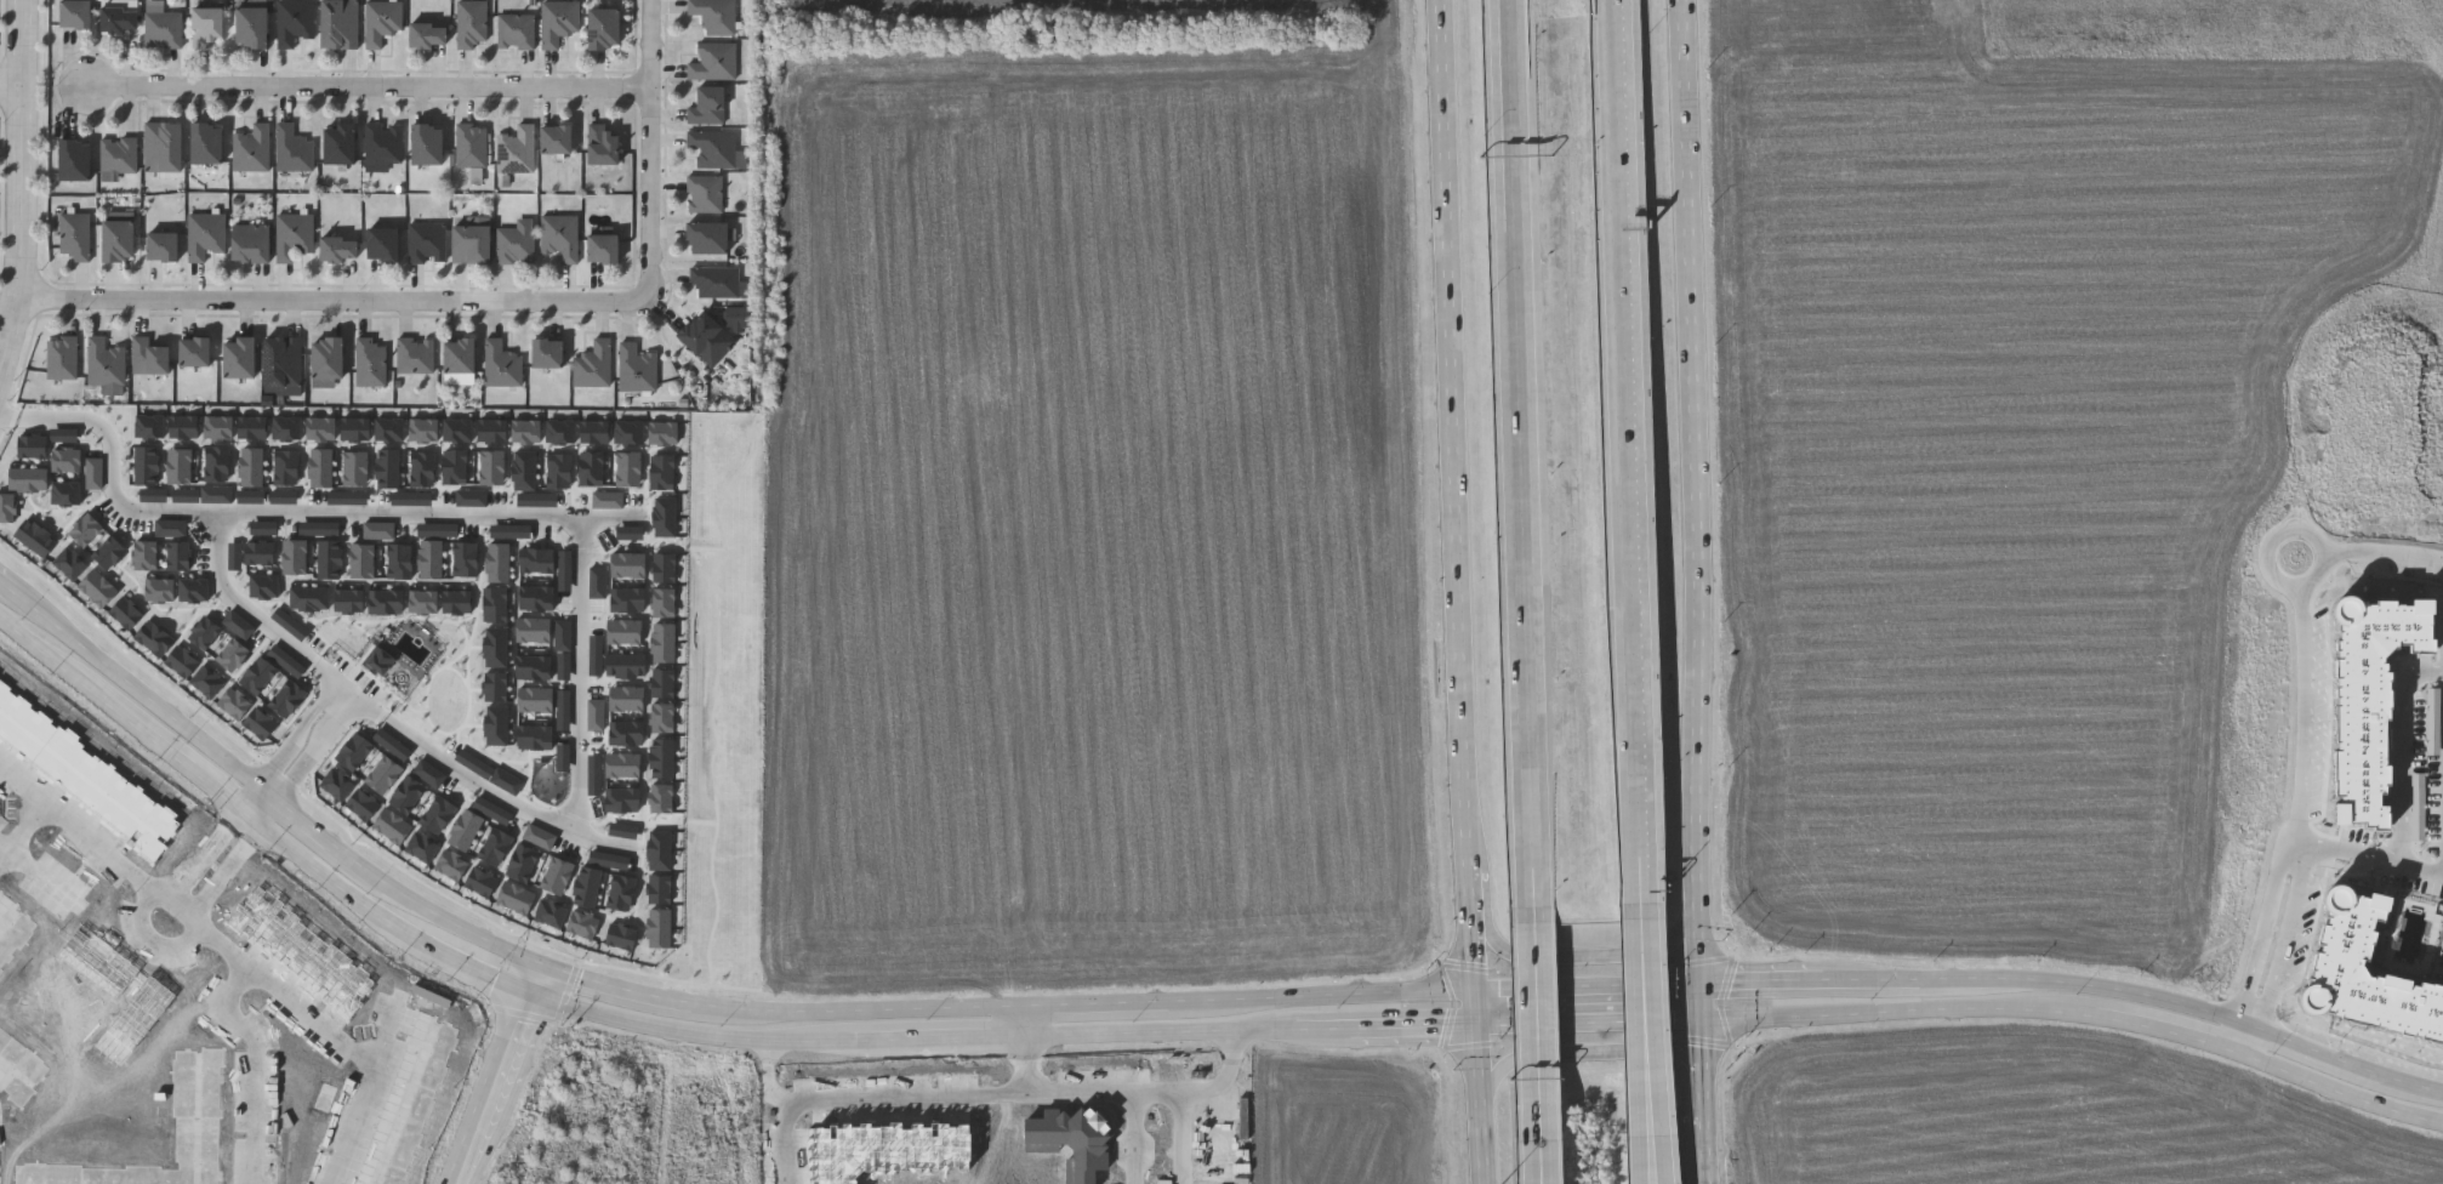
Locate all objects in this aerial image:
building: (76, 13)
building: (713, 15)
building: (120, 18)
building: (381, 19)
building: (294, 21)
building: (557, 21)
road: (1504, 22)
road: (1507, 22)
building: (340, 23)
building: (471, 23)
building: (209, 25)
building: (252, 25)
building: (605, 27)
building: (163, 29)
building: (516, 30)
building: (428, 34)
building: (713, 59)
road: (363, 76)
road: (11, 84)
building: (707, 106)
building: (557, 138)
building: (207, 142)
building: (382, 142)
building: (341, 143)
building: (428, 143)
building: (471, 144)
building: (604, 144)
building: (163, 146)
building: (713, 147)
building: (251, 148)
building: (292, 148)
building: (514, 149)
building: (119, 154)
road: (649, 155)
building: (75, 159)
road: (22, 188)
building: (704, 193)
building: (74, 234)
building: (205, 234)
building: (292, 234)
building: (560, 234)
building: (708, 237)
building: (120, 239)
building: (251, 241)
building: (426, 241)
building: (385, 243)
building: (472, 243)
building: (514, 244)
building: (163, 245)
building: (604, 246)
building: (340, 247)
building: (717, 281)
road: (335, 306)
building: (738, 315)
building: (707, 337)
building: (195, 351)
building: (547, 352)
building: (414, 354)
building: (460, 354)
building: (149, 355)
building: (62, 357)
building: (328, 357)
building: (240, 358)
building: (283, 360)
building: (104, 362)
building: (369, 362)
building: (501, 364)
building: (592, 364)
building: (636, 366)
building: (152, 427)
building: (186, 427)
building: (220, 428)
building: (254, 428)
building: (289, 428)
building: (321, 429)
building: (357, 429)
building: (391, 429)
building: (425, 431)
building: (459, 431)
building: (494, 432)
building: (528, 432)
building: (596, 432)
building: (562, 433)
building: (631, 433)
building: (665, 433)
building: (66, 436)
road: (1452, 436)
building: (34, 446)
building: (68, 461)
road: (1624, 461)
building: (218, 465)
building: (148, 466)
building: (181, 466)
building: (252, 467)
building: (456, 467)
building: (287, 468)
building: (323, 468)
building: (494, 468)
building: (592, 468)
building: (357, 469)
building: (389, 469)
building: (425, 469)
building: (630, 469)
building: (525, 471)
building: (560, 471)
building: (96, 473)
building: (664, 473)
building: (30, 480)
road: (1516, 483)
building: (68, 494)
building: (155, 495)
building: (218, 495)
building: (187, 496)
building: (252, 496)
building: (285, 497)
building: (349, 497)
building: (414, 499)
building: (473, 499)
building: (539, 500)
building: (609, 500)
building: (8, 508)
road: (1696, 511)
road: (170, 512)
road: (599, 513)
building: (666, 518)
building: (264, 528)
building: (172, 529)
building: (320, 529)
building: (87, 530)
building: (438, 530)
building: (380, 531)
building: (512, 531)
building: (631, 533)
building: (36, 539)
building: (112, 553)
building: (261, 553)
building: (147, 556)
building: (180, 556)
building: (237, 557)
building: (296, 557)
building: (432, 559)
building: (467, 559)
building: (331, 560)
building: (537, 560)
building: (364, 562)
building: (402, 562)
building: (500, 563)
building: (72, 564)
building: (630, 565)
building: (666, 568)
building: (566, 571)
building: (599, 582)
building: (266, 586)
building: (99, 588)
road: (583, 588)
road: (10, 590)
building: (161, 590)
building: (195, 591)
building: (537, 598)
building: (311, 599)
building: (628, 600)
building: (351, 602)
building: (425, 602)
building: (387, 603)
building: (459, 603)
building: (665, 603)
building: (497, 605)
building: (127, 614)
road: (255, 616)
building: (240, 625)
building: (291, 625)
building: (535, 630)
building: (626, 632)
building: (206, 633)
building: (564, 636)
building: (155, 639)
building: (665, 643)
road: (2305, 644)
building: (497, 648)
building: (234, 656)
building: (597, 656)
building: (287, 661)
building: (378, 661)
building: (183, 662)
building: (565, 666)
building: (627, 666)
building: (535, 668)
building: (260, 676)
building: (209, 683)
building: (664, 684)
building: (496, 688)
road: (146, 695)
building: (289, 699)
building: (628, 699)
building: (2370, 699)
building: (537, 700)
building: (235, 704)
building: (564, 710)
building: (597, 716)
building: (664, 718)
building: (262, 724)
road: (307, 724)
building: (499, 725)
building: (628, 734)
road: (323, 736)
building: (536, 738)
building: (355, 751)
road: (2404, 755)
building: (565, 758)
building: (664, 758)
building: (625, 765)
road: (278, 774)
building: (431, 774)
building: (385, 775)
building: (596, 775)
road: (285, 781)
building: (508, 781)
road: (482, 784)
building: (338, 785)
road: (274, 789)
building: (409, 795)
building: (662, 799)
building: (623, 801)
building: (364, 806)
road: (261, 807)
building: (494, 810)
building: (439, 815)
road: (303, 820)
road: (255, 821)
road: (247, 824)
road: (28, 826)
building: (394, 826)
building: (625, 830)
building: (466, 831)
road: (90, 836)
building: (541, 837)
road: (5, 846)
building: (423, 848)
building: (497, 848)
building: (661, 850)
road: (5, 855)
road: (205, 856)
road: (2369, 859)
building: (610, 860)
building: (524, 864)
building: (452, 866)
road: (222, 872)
road: (44, 876)
building: (558, 876)
building: (483, 882)
road: (1471, 883)
building: (588, 887)
building: (661, 889)
building: (622, 893)
building: (517, 899)
road: (183, 903)
road: (434, 913)
building: (552, 913)
building: (585, 924)
road: (2265, 928)
building: (660, 929)
road: (2284, 934)
building: (622, 937)
road: (150, 939)
road: (1474, 941)
road: (1722, 956)
road: (1589, 957)
road: (1452, 966)
building: (2367, 973)
traffic signals: (583, 978)
traffic signals: (499, 979)
traffic signals: (1703, 984)
road: (1498, 990)
road: (569, 991)
traffic signals: (1476, 991)
road: (525, 1014)
road: (2250, 1015)
road: (1641, 1017)
traffic signals: (523, 1020)
traffic signals: (1704, 1021)
road: (238, 1024)
road: (1493, 1026)
traffic signals: (1477, 1028)
road: (387, 1031)
road: (1531, 1031)
road: (2240, 1037)
road: (1727, 1041)
road: (1459, 1048)
road: (1029, 1049)
road: (1582, 1053)
road: (361, 1054)
road: (1704, 1060)
road: (502, 1074)
road: (1477, 1087)
road: (998, 1094)
road: (1705, 1115)
road: (1179, 1137)
road: (1131, 1138)
road: (788, 1142)
road: (1646, 1148)
road: (1651, 1148)
road: (1707, 1156)
road: (1533, 1162)
road: (1536, 1162)

